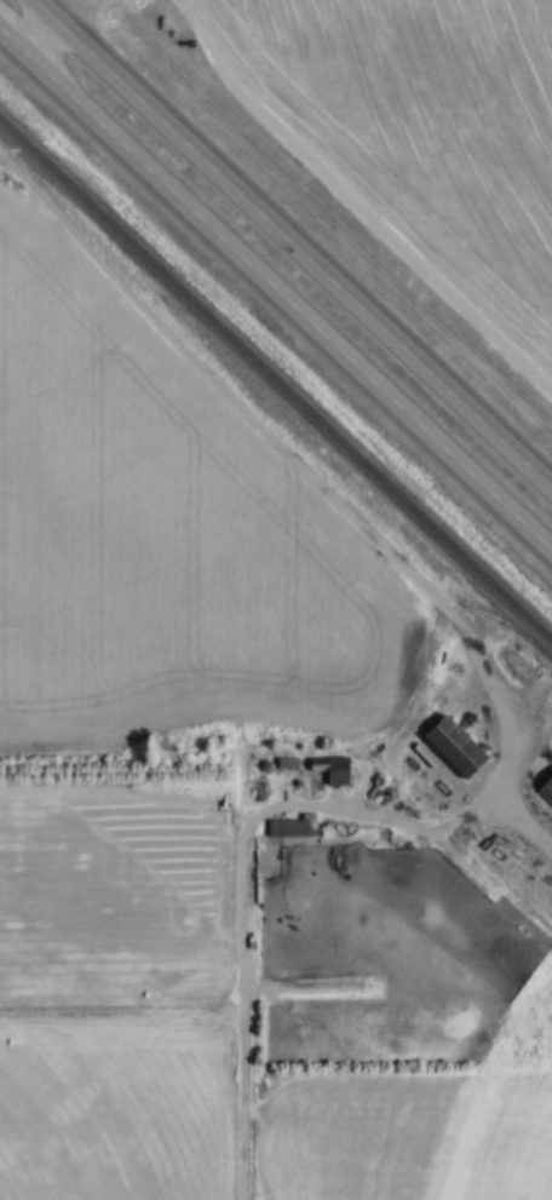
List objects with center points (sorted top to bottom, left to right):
road: (52, 24)
road: (294, 241)
road: (276, 283)
railway: (276, 375)
building: (454, 745)
building: (287, 762)
building: (330, 768)
building: (545, 788)
building: (288, 826)

